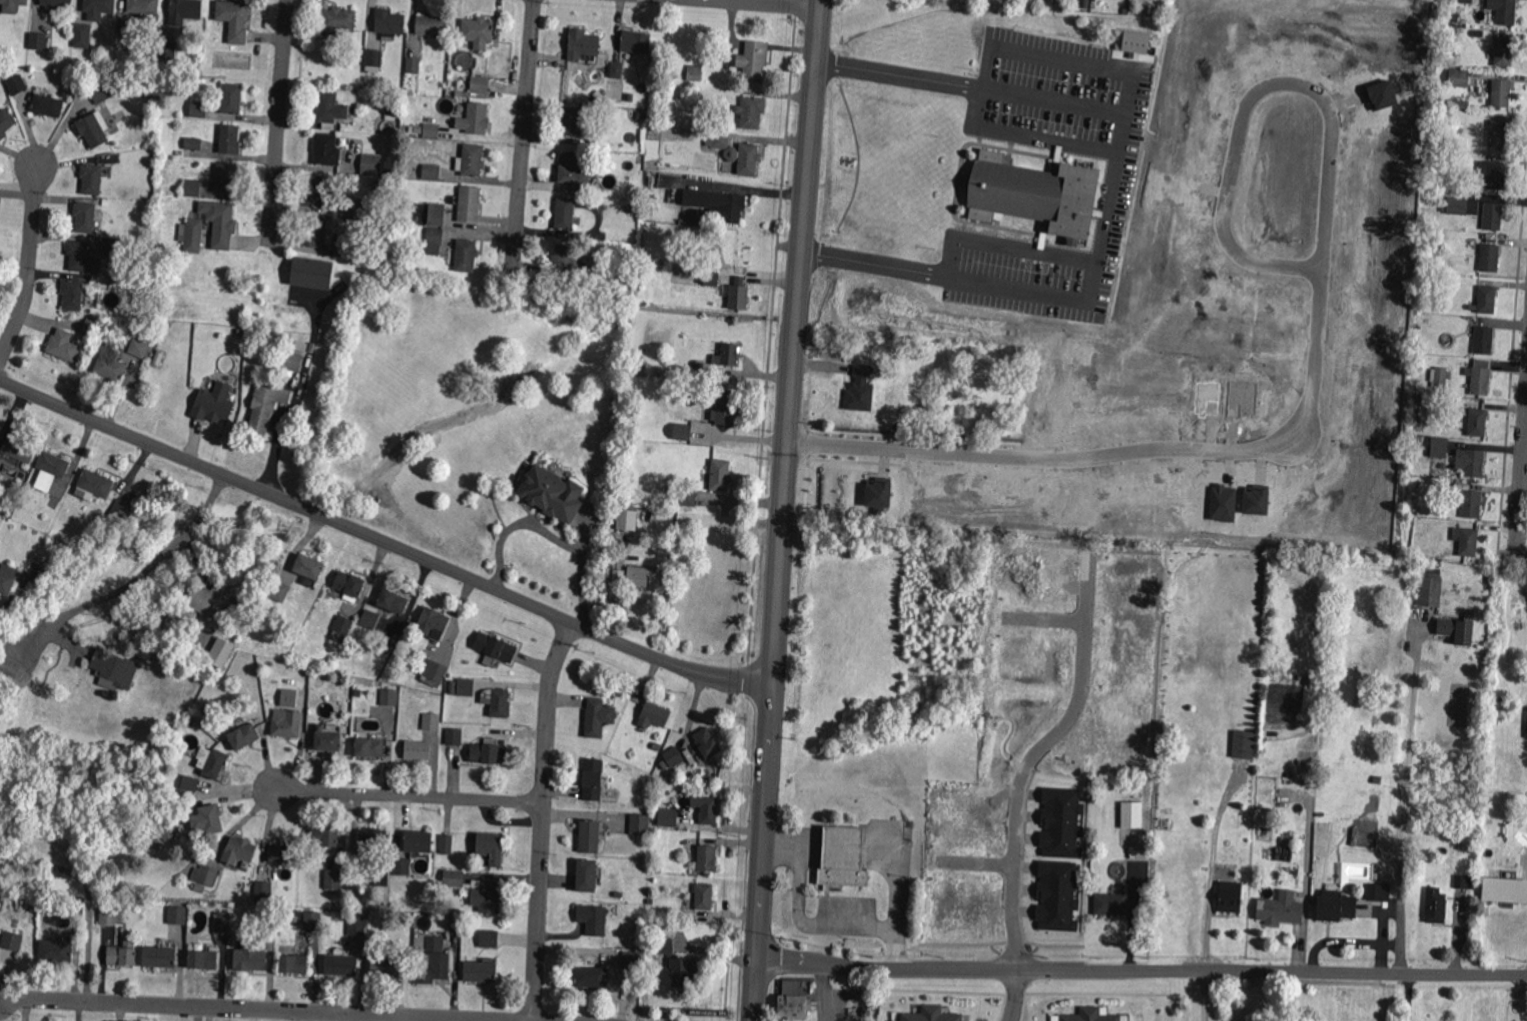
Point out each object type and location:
building: (1463, 0)
road: (776, 3)
building: (12, 5)
building: (55, 5)
building: (143, 6)
building: (98, 8)
building: (184, 11)
building: (1505, 13)
building: (1455, 18)
building: (234, 19)
building: (338, 21)
building: (389, 21)
building: (432, 25)
building: (122, 31)
building: (477, 32)
building: (499, 32)
building: (82, 36)
building: (37, 41)
building: (635, 42)
building: (1132, 42)
building: (582, 44)
building: (167, 50)
building: (1503, 52)
building: (372, 58)
building: (753, 61)
building: (413, 65)
building: (602, 69)
building: (616, 70)
building: (694, 73)
building: (1458, 78)
building: (16, 85)
building: (480, 85)
building: (357, 86)
building: (99, 92)
building: (463, 94)
building: (1499, 94)
building: (169, 95)
building: (631, 97)
building: (231, 99)
building: (1458, 105)
building: (47, 106)
building: (460, 108)
building: (198, 109)
building: (329, 109)
building: (751, 112)
building: (392, 113)
building: (639, 115)
road: (277, 117)
building: (474, 119)
road: (524, 122)
building: (5, 123)
building: (573, 123)
building: (92, 129)
building: (418, 129)
building: (431, 131)
building: (1499, 136)
building: (229, 139)
building: (719, 140)
building: (193, 144)
building: (324, 150)
building: (639, 159)
building: (748, 160)
building: (471, 161)
building: (371, 165)
building: (588, 166)
building: (405, 169)
building: (572, 170)
building: (392, 171)
building: (431, 173)
building: (1492, 174)
building: (91, 179)
building: (228, 179)
building: (1442, 186)
building: (193, 188)
building: (324, 193)
building: (1035, 195)
road: (1110, 195)
building: (652, 198)
building: (470, 204)
building: (717, 204)
building: (1455, 206)
building: (630, 209)
building: (436, 214)
building: (564, 215)
building: (219, 216)
building: (1492, 216)
building: (85, 218)
building: (192, 230)
building: (413, 230)
building: (318, 233)
building: (434, 241)
road: (1010, 247)
building: (123, 249)
building: (356, 249)
building: (717, 250)
building: (466, 256)
building: (81, 257)
building: (566, 258)
building: (1488, 258)
road: (29, 265)
building: (313, 274)
building: (710, 278)
building: (72, 295)
building: (738, 297)
building: (1486, 300)
building: (1425, 320)
building: (92, 328)
building: (1484, 341)
building: (295, 346)
building: (62, 347)
building: (138, 348)
building: (727, 355)
building: (165, 357)
road: (1314, 357)
building: (293, 361)
building: (1443, 361)
building: (638, 368)
building: (110, 369)
building: (698, 369)
building: (660, 370)
building: (1440, 376)
building: (1479, 379)
building: (319, 385)
building: (860, 390)
building: (1417, 402)
building: (214, 403)
building: (266, 406)
building: (724, 408)
building: (1476, 423)
building: (630, 425)
building: (682, 433)
building: (1414, 442)
building: (19, 449)
building: (1437, 449)
building: (1471, 462)
building: (50, 469)
building: (720, 475)
building: (95, 483)
road: (1522, 492)
building: (552, 494)
building: (877, 494)
building: (688, 498)
building: (1255, 500)
building: (1222, 502)
building: (1466, 503)
road: (783, 510)
building: (1415, 510)
building: (119, 512)
building: (626, 518)
building: (1432, 528)
road: (549, 533)
road: (384, 540)
building: (1466, 541)
building: (638, 552)
road: (153, 564)
building: (310, 565)
building: (1434, 573)
building: (617, 575)
building: (637, 576)
building: (7, 578)
building: (350, 584)
building: (280, 589)
building: (1430, 594)
building: (211, 598)
building: (392, 602)
road: (1044, 617)
building: (370, 619)
building: (433, 620)
building: (343, 625)
building: (1458, 628)
building: (495, 647)
building: (221, 653)
building: (9, 667)
building: (113, 670)
building: (433, 672)
building: (320, 680)
building: (466, 687)
building: (390, 696)
building: (287, 698)
building: (499, 703)
building: (598, 714)
building: (654, 715)
road: (1069, 715)
building: (431, 722)
building: (286, 725)
building: (489, 732)
building: (243, 737)
building: (454, 738)
building: (328, 741)
building: (708, 742)
building: (1242, 745)
building: (369, 747)
building: (418, 751)
building: (488, 754)
building: (673, 757)
building: (215, 764)
building: (594, 778)
building: (190, 783)
road: (411, 795)
road: (1407, 799)
building: (662, 800)
building: (709, 813)
building: (1132, 815)
building: (667, 818)
road: (544, 819)
building: (207, 820)
building: (1060, 822)
building: (638, 824)
building: (982, 825)
building: (1323, 827)
building: (166, 830)
building: (591, 835)
building: (324, 836)
building: (371, 841)
building: (418, 842)
building: (447, 843)
building: (491, 848)
building: (1472, 848)
building: (238, 851)
building: (283, 854)
building: (1283, 854)
building: (708, 858)
building: (844, 859)
road: (978, 863)
building: (401, 867)
building: (205, 875)
building: (587, 875)
building: (381, 876)
building: (454, 878)
building: (333, 879)
building: (1464, 882)
building: (1504, 889)
building: (263, 892)
building: (1057, 894)
building: (1377, 895)
building: (487, 898)
building: (705, 898)
building: (1228, 899)
building: (1112, 904)
building: (122, 907)
building: (1434, 908)
building: (72, 909)
building: (1332, 910)
building: (1279, 914)
building: (177, 915)
building: (109, 916)
building: (1169, 916)
building: (594, 917)
road: (1014, 917)
building: (996, 918)
building: (268, 921)
building: (313, 921)
building: (358, 924)
road: (809, 924)
building: (222, 926)
building: (454, 926)
building: (487, 937)
building: (12, 941)
road: (1347, 941)
road: (1382, 943)
building: (56, 953)
building: (123, 954)
building: (250, 957)
building: (160, 958)
building: (633, 960)
building: (203, 961)
building: (434, 961)
building: (293, 964)
building: (341, 965)
building: (677, 965)
building: (388, 968)
road: (1142, 969)
building: (480, 972)
building: (593, 977)
building: (855, 994)
road: (1014, 994)
road: (1201, 995)
building: (793, 1002)
road: (267, 1009)
building: (933, 1015)
building: (1094, 1016)

